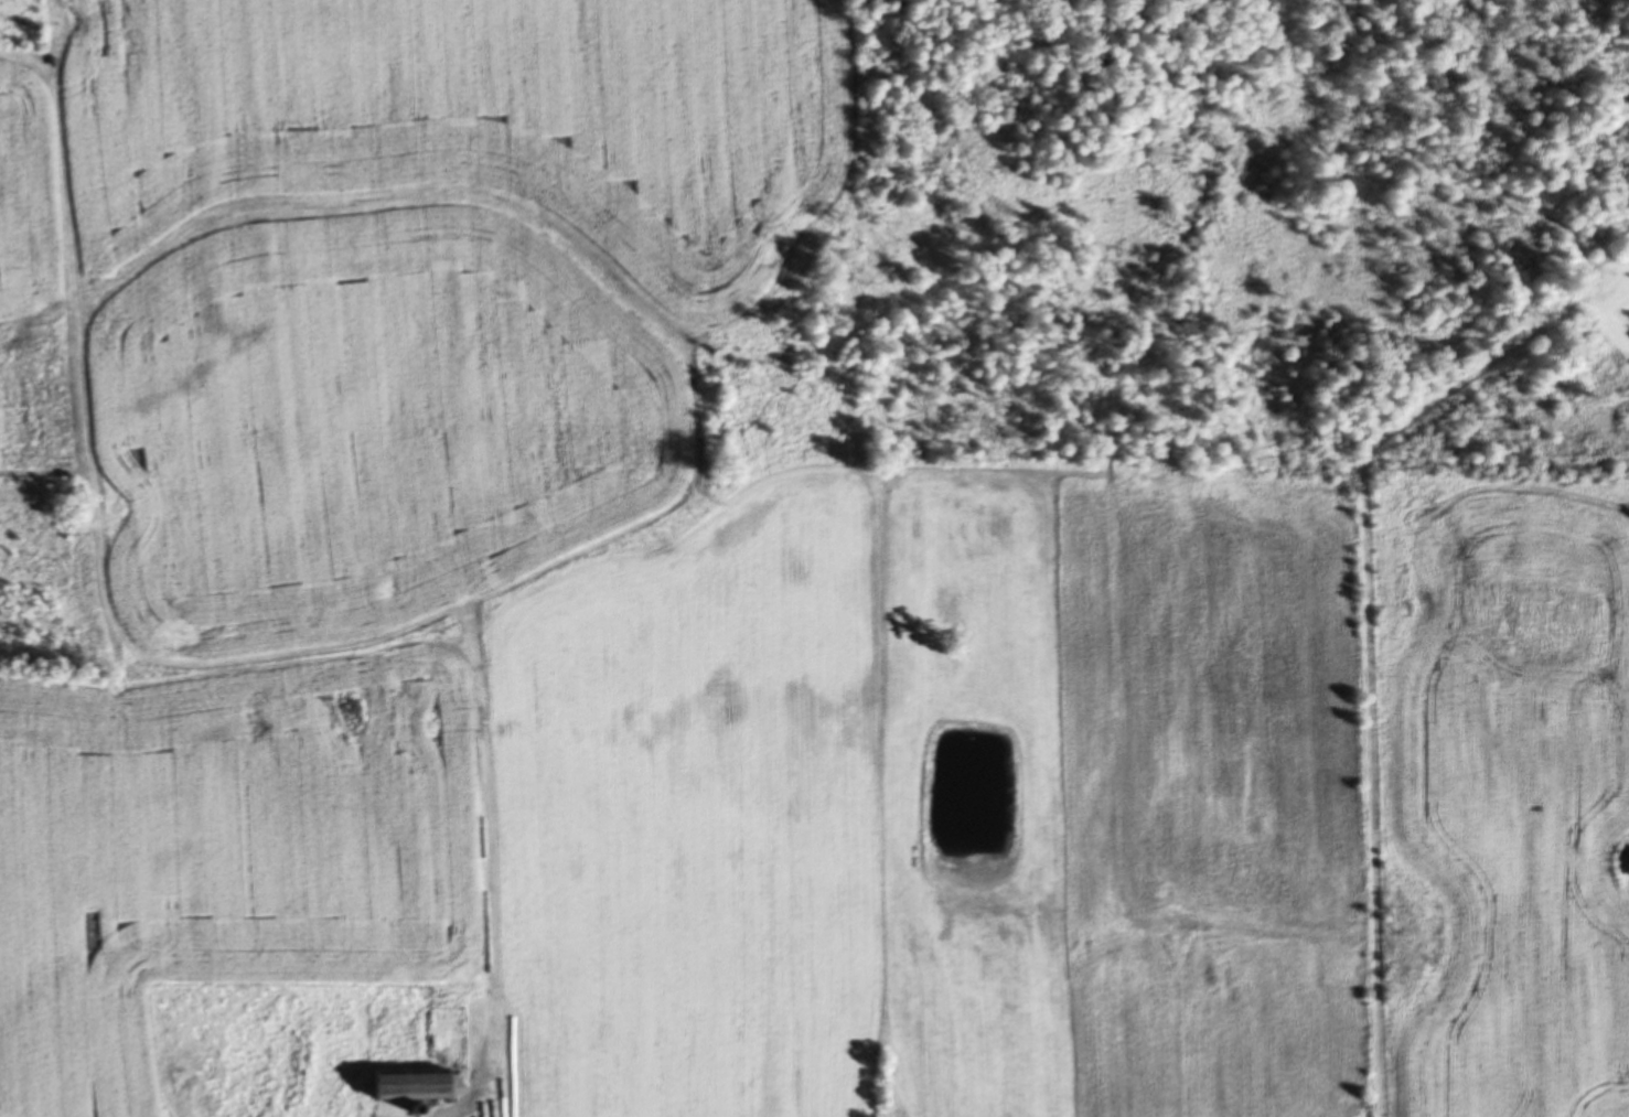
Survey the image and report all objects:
building: (1625, 305)
building: (421, 1084)

